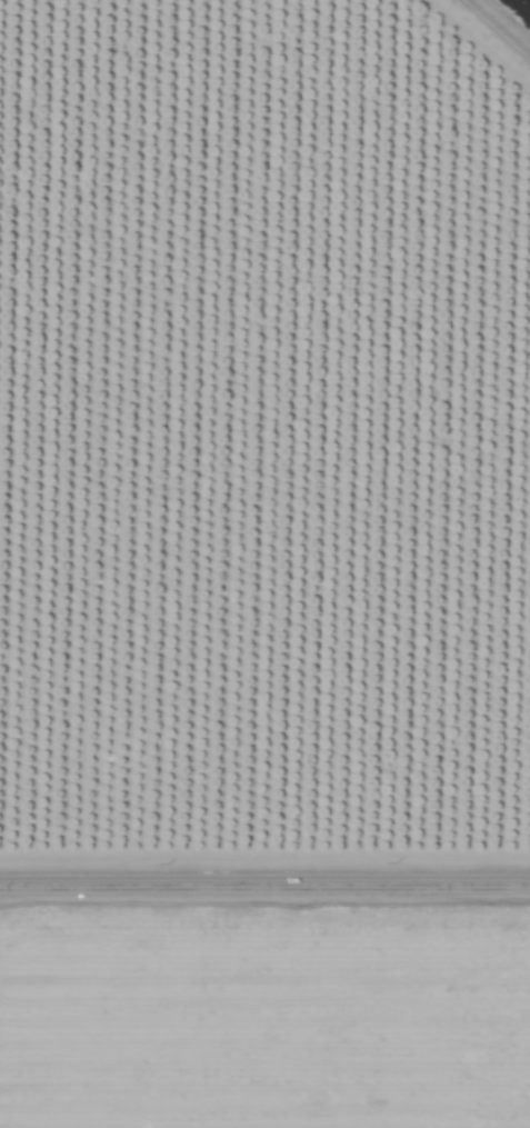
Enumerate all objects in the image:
road: (499, 27)
crop: (264, 563)
road: (264, 887)

